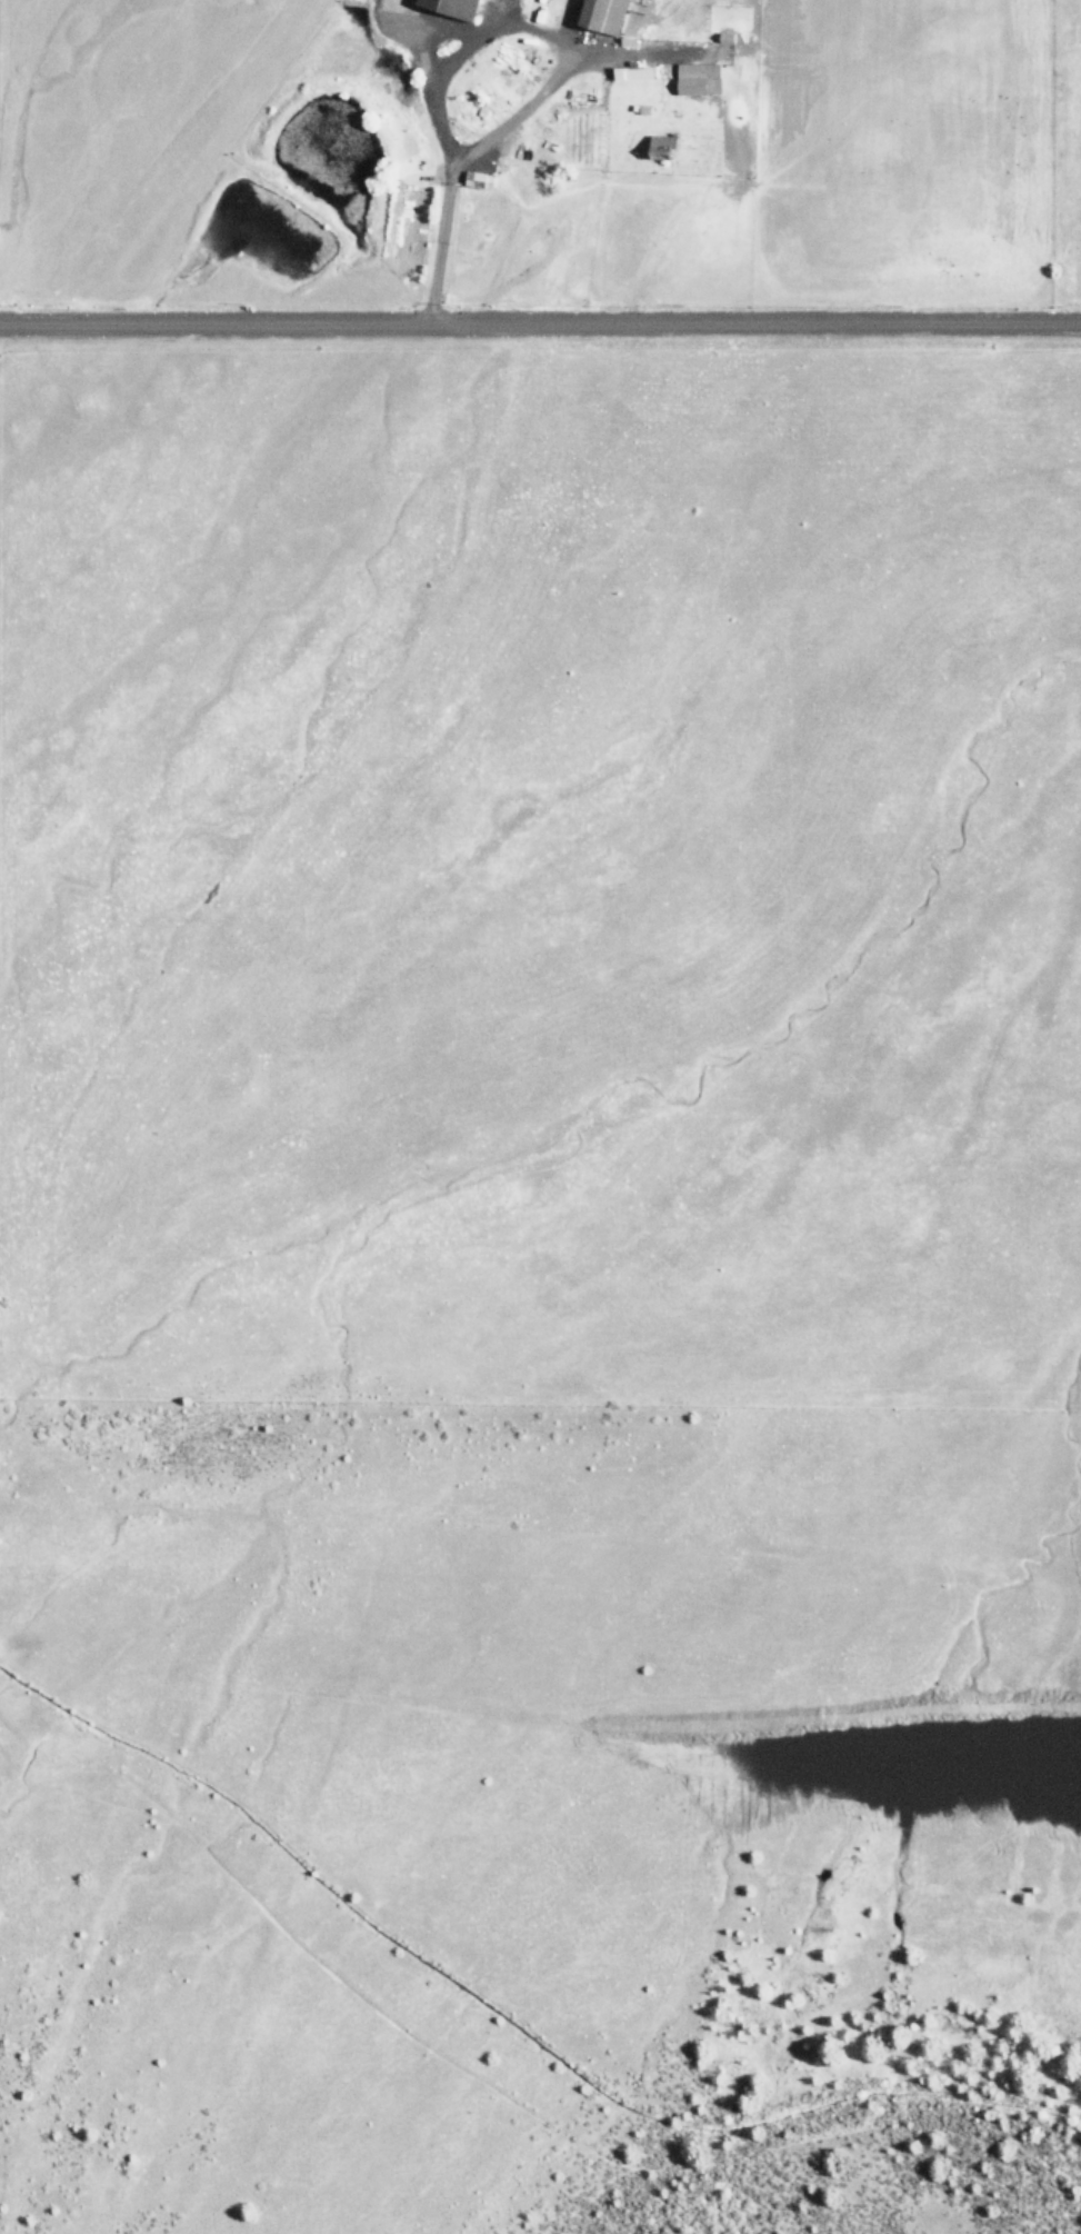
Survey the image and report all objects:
building: (450, 7)
building: (601, 13)
building: (631, 72)
building: (695, 76)
building: (660, 144)
building: (478, 179)
road: (540, 320)

